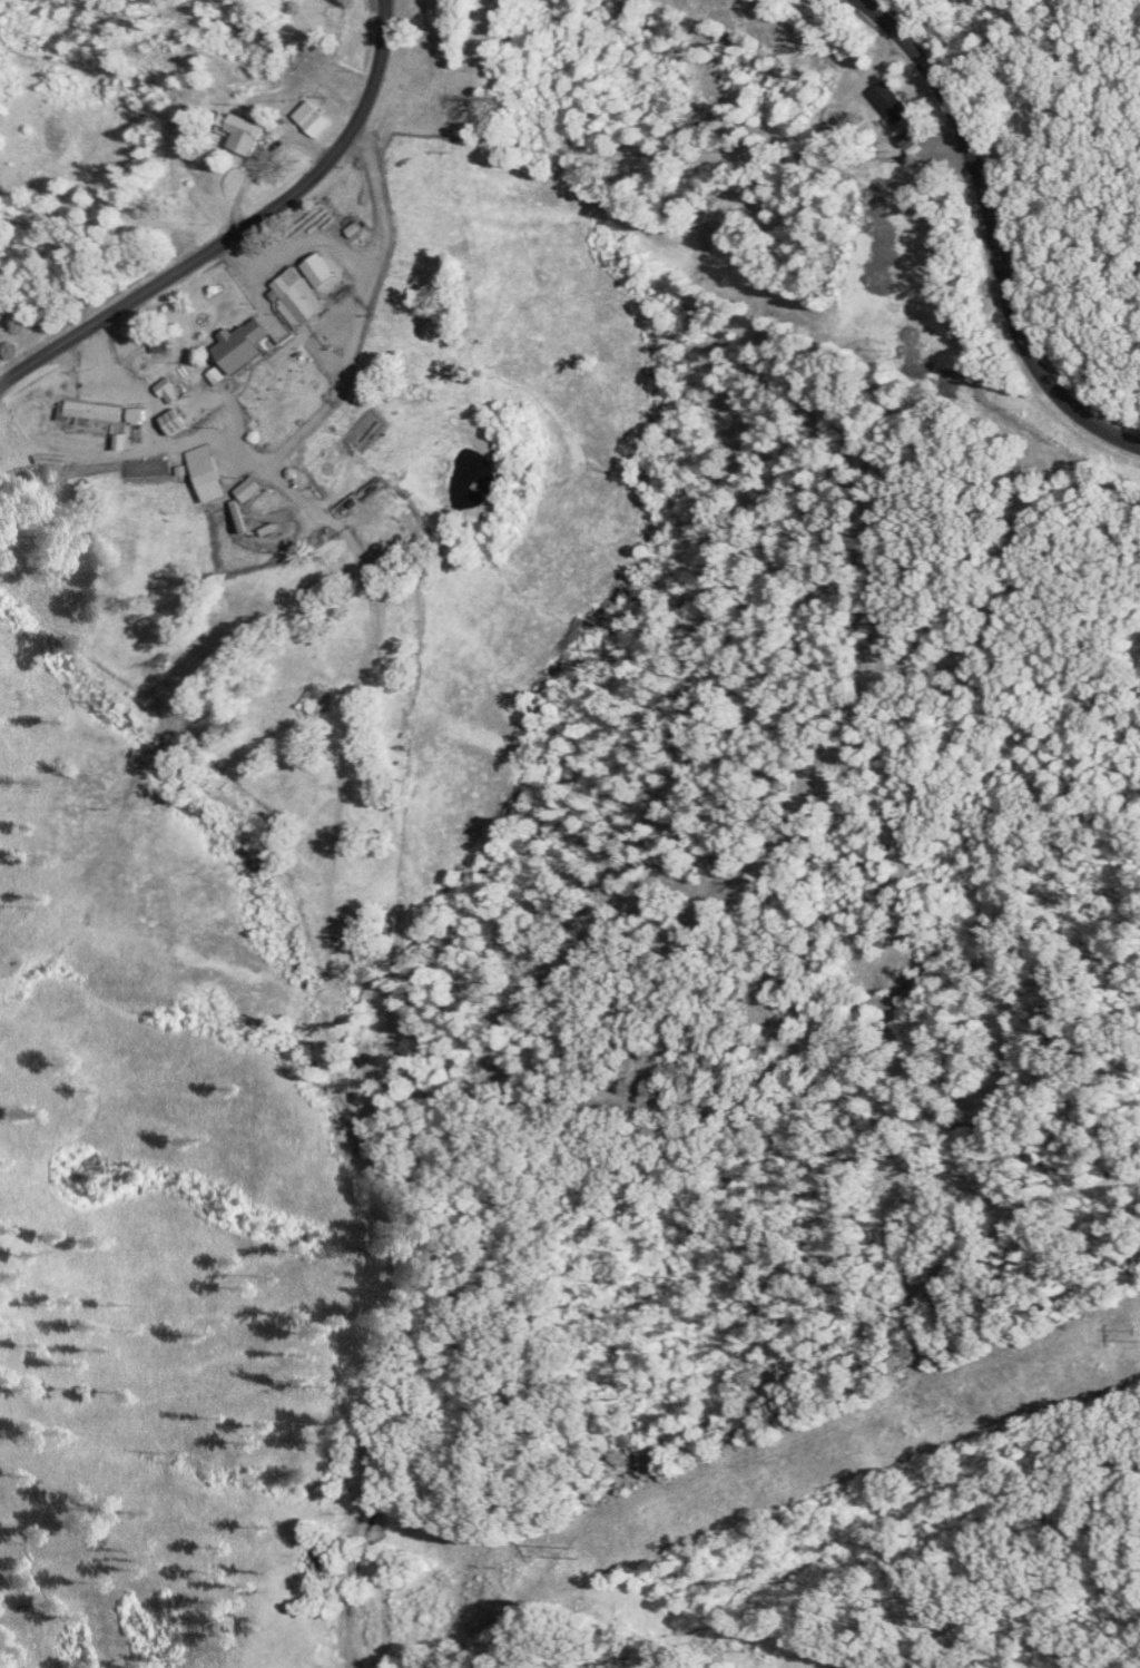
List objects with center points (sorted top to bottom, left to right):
building: (316, 120)
building: (248, 136)
road: (1020, 223)
road: (240, 229)
road: (302, 238)
building: (324, 271)
building: (302, 296)
building: (154, 361)
building: (169, 386)
building: (97, 412)
road: (316, 418)
building: (214, 473)
building: (256, 488)
road: (790, 1378)

